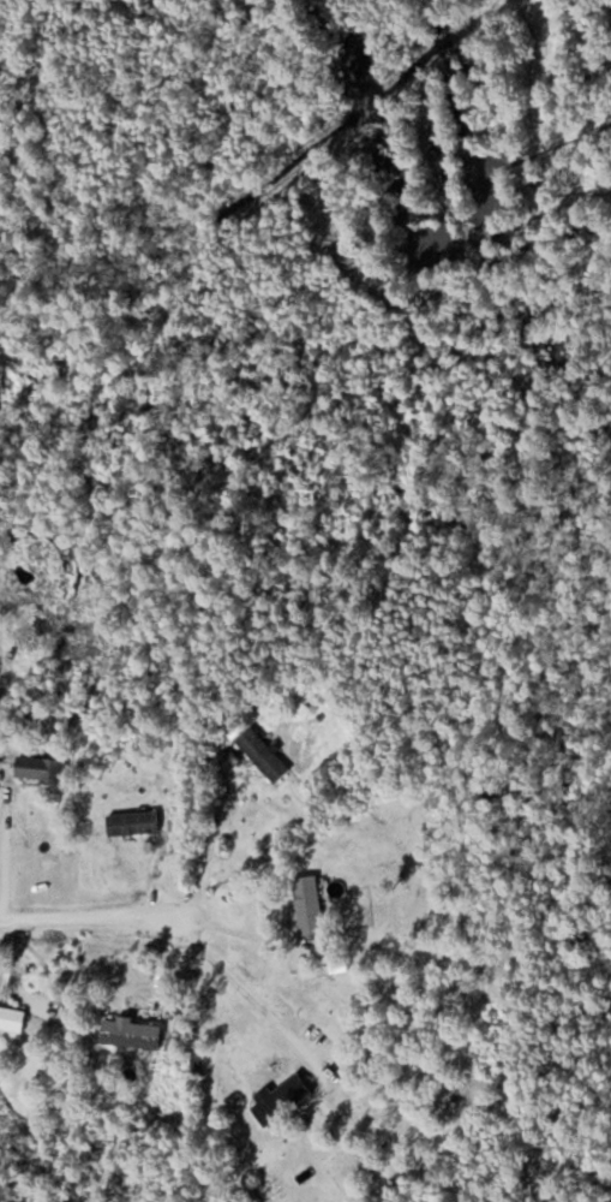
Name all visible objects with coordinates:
building: (264, 755)
building: (42, 769)
building: (134, 821)
road: (217, 829)
road: (4, 855)
building: (310, 903)
road: (88, 918)
road: (238, 929)
road: (234, 980)
building: (12, 1017)
building: (132, 1033)
building: (281, 1097)

